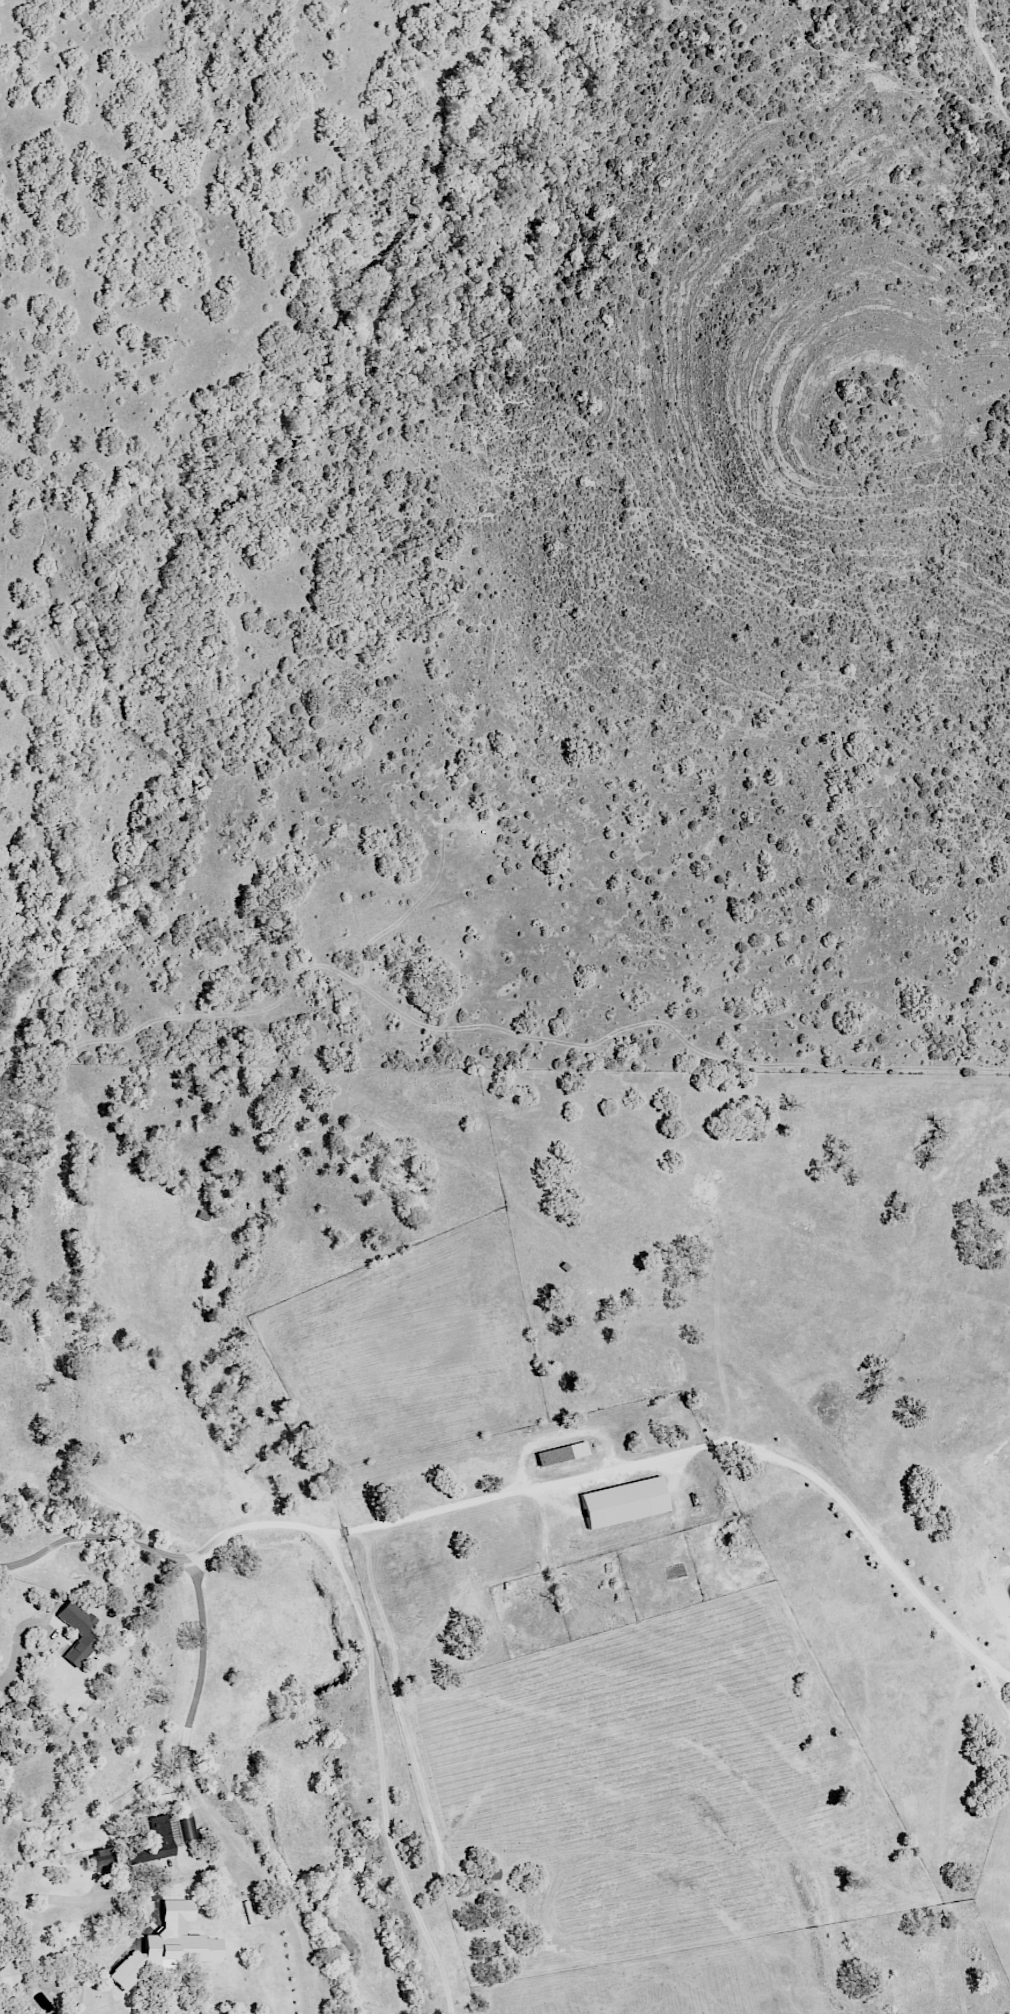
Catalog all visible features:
building: (201, 1216)
building: (560, 1455)
road: (553, 1484)
building: (618, 1504)
building: (70, 1640)
road: (203, 1710)
building: (29, 1788)
building: (187, 1827)
building: (152, 1842)
building: (100, 1860)
road: (206, 1869)
building: (486, 1874)
building: (183, 1931)
building: (3, 1971)

